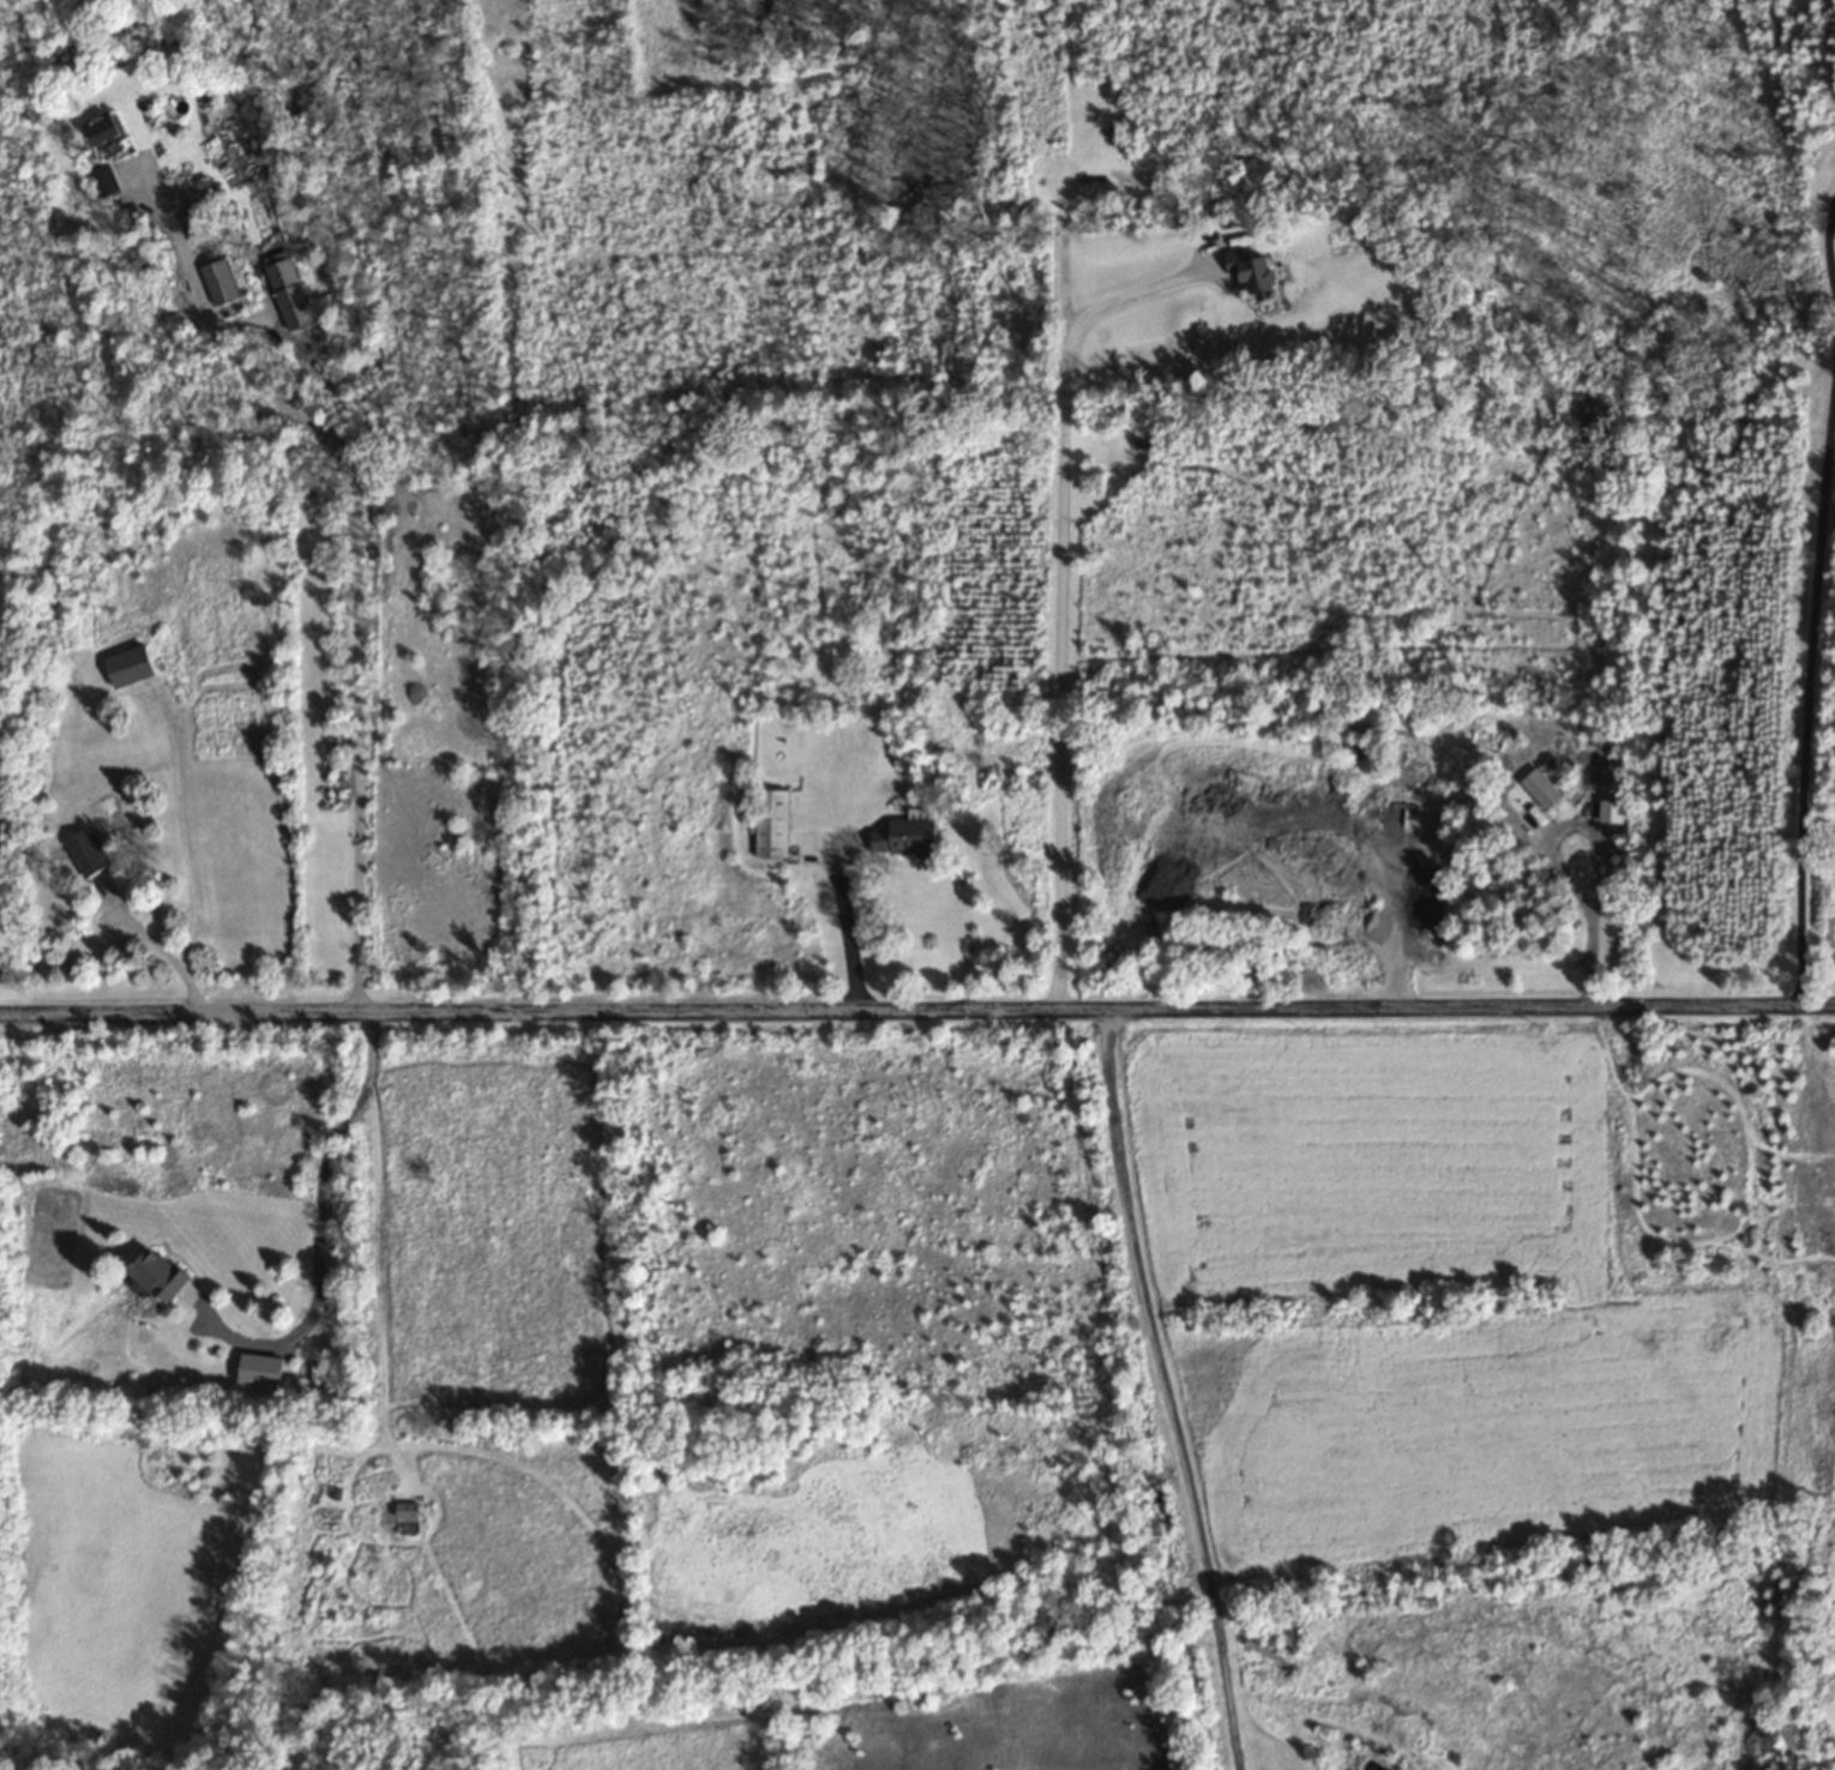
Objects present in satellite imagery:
building: (108, 131)
building: (104, 180)
building: (198, 224)
building: (1258, 271)
building: (221, 275)
building: (290, 287)
road: (353, 561)
road: (1061, 588)
building: (133, 663)
building: (1542, 788)
building: (1612, 809)
building: (772, 821)
building: (1828, 825)
building: (909, 835)
road: (1596, 845)
building: (90, 850)
road: (842, 922)
road: (916, 1010)
building: (161, 1274)
building: (1269, 1649)

